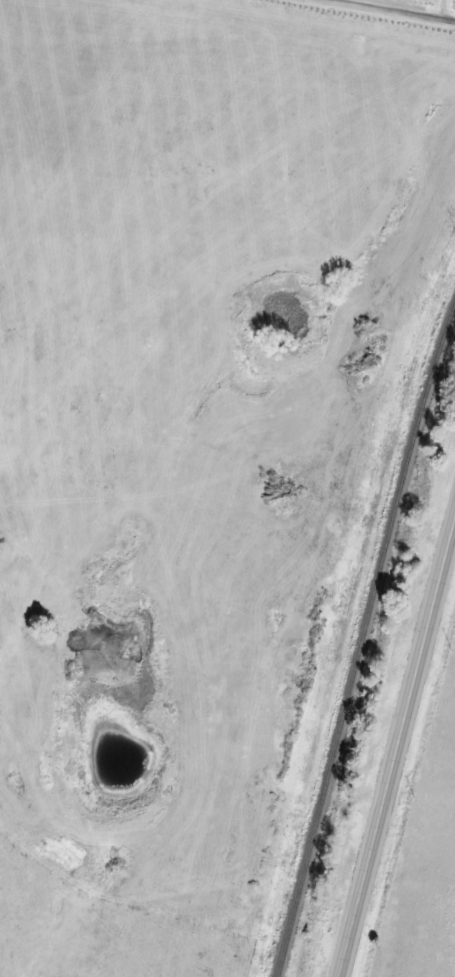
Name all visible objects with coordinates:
road: (443, 8)
road: (400, 9)
railway: (361, 640)
road: (399, 765)

